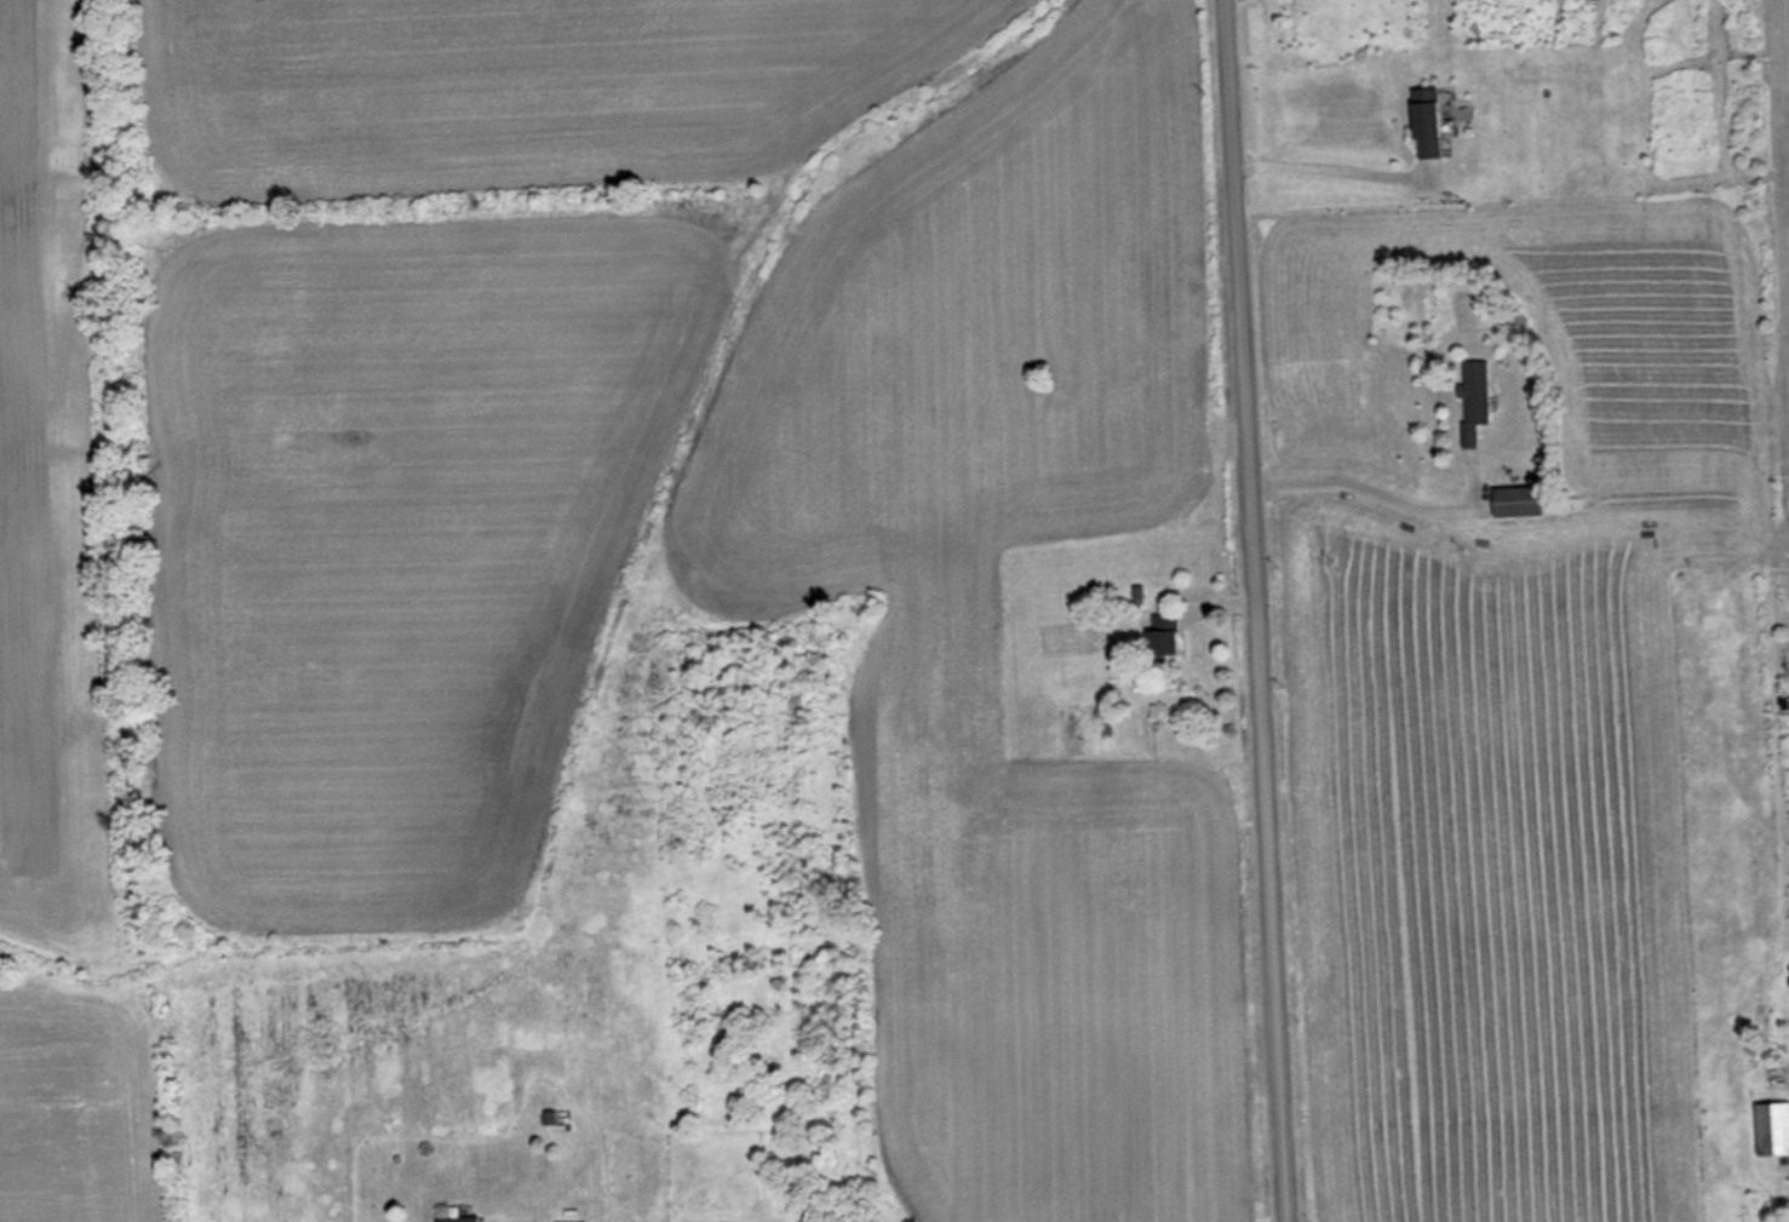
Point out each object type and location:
building: (1424, 125)
building: (1475, 402)
building: (1516, 504)
road: (1252, 610)
building: (1162, 635)
building: (1772, 1130)
building: (457, 1220)

